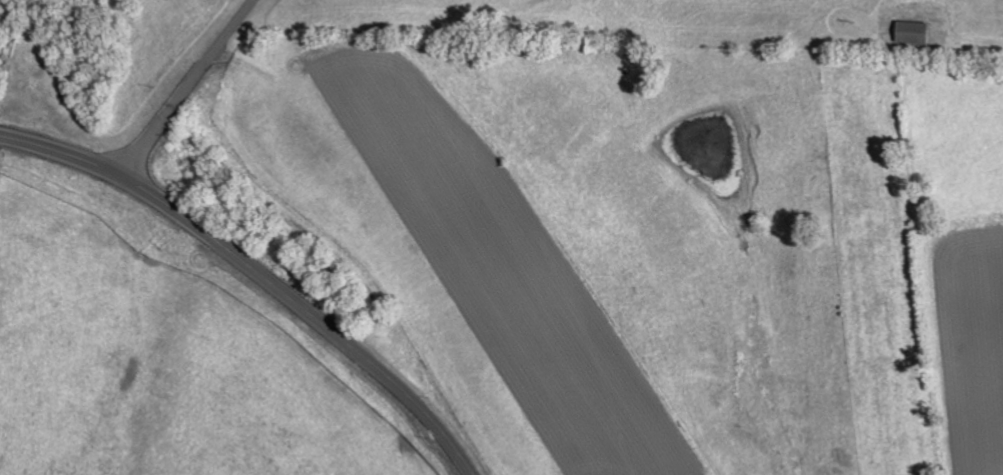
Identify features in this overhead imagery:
building: (910, 34)
road: (188, 89)
road: (259, 272)

